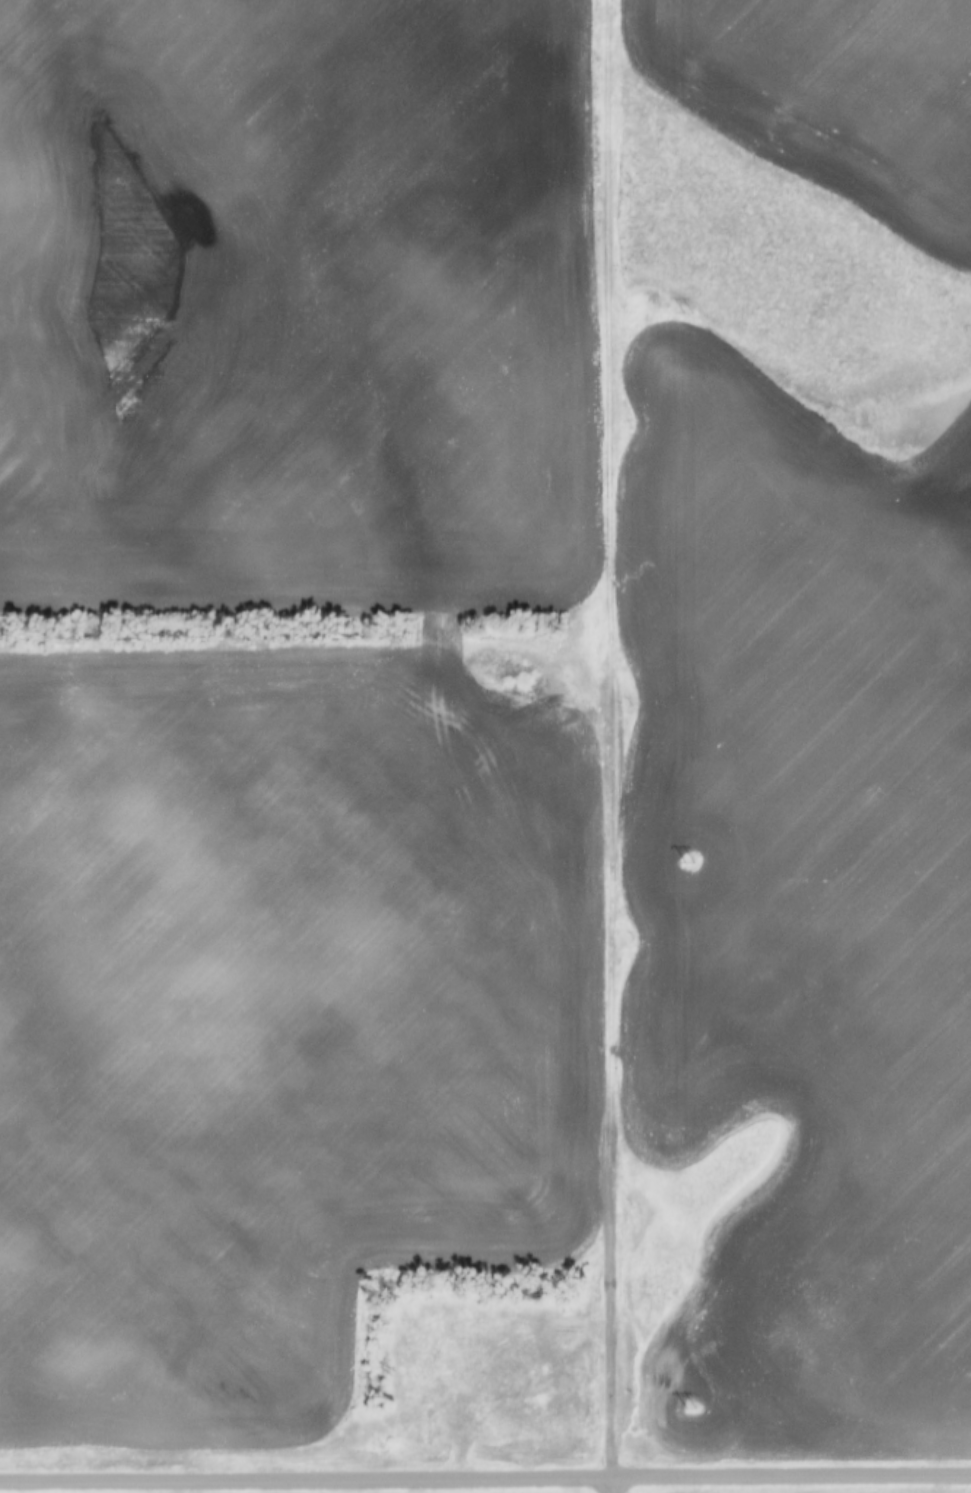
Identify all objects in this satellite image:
power tower: (685, 311)
road: (613, 737)
power tower: (687, 860)
power tower: (686, 1406)
road: (485, 1475)
road: (613, 1484)

